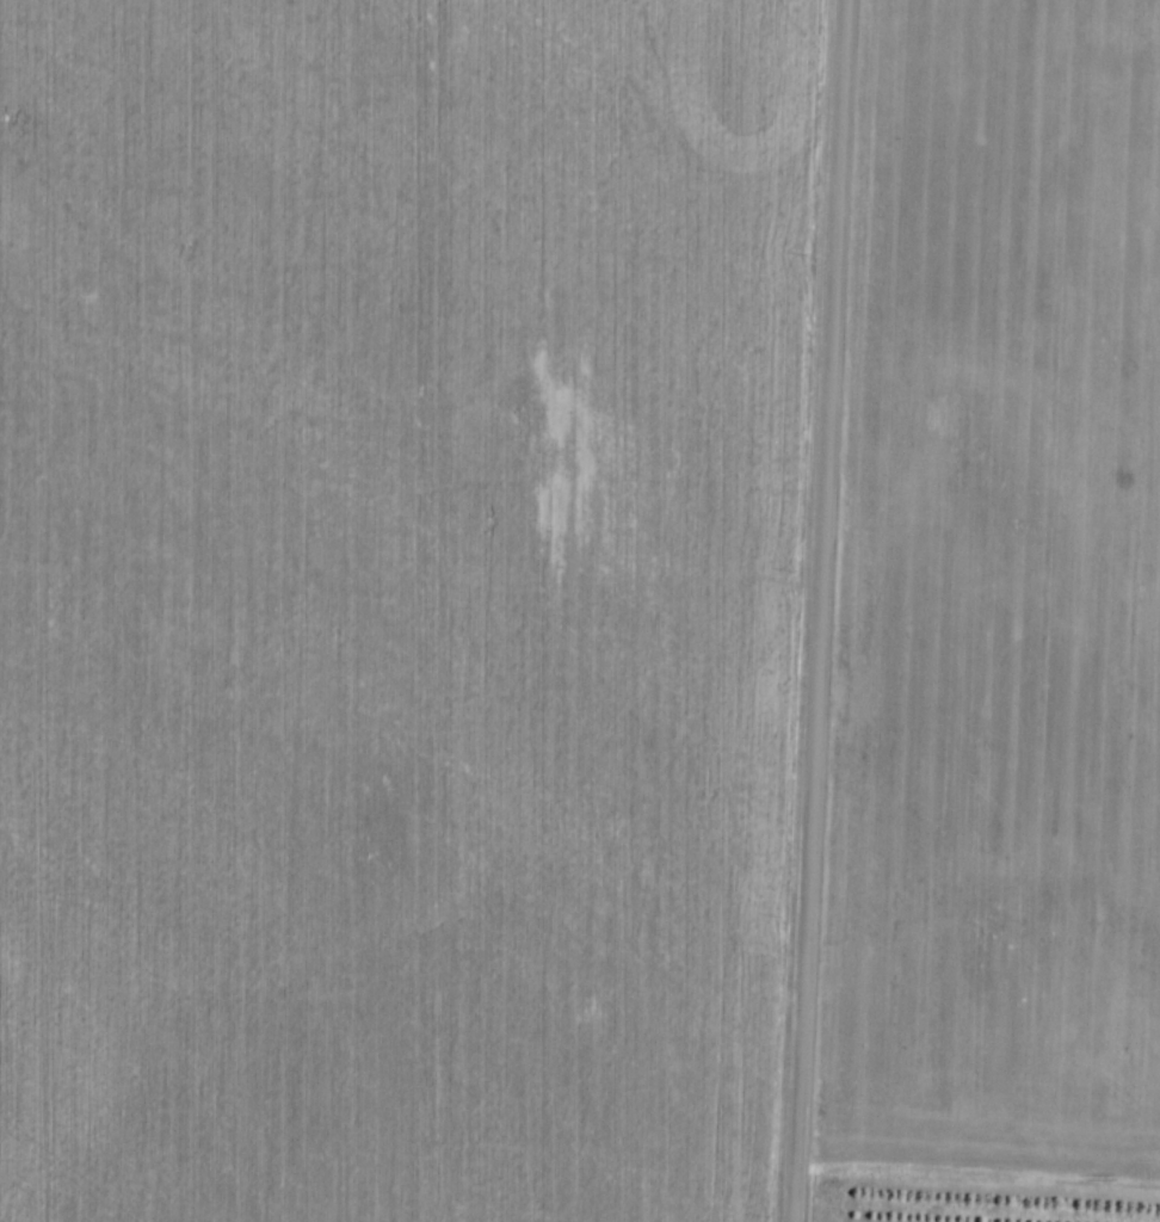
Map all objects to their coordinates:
crop: (394, 604)
road: (814, 611)
crop: (998, 611)

